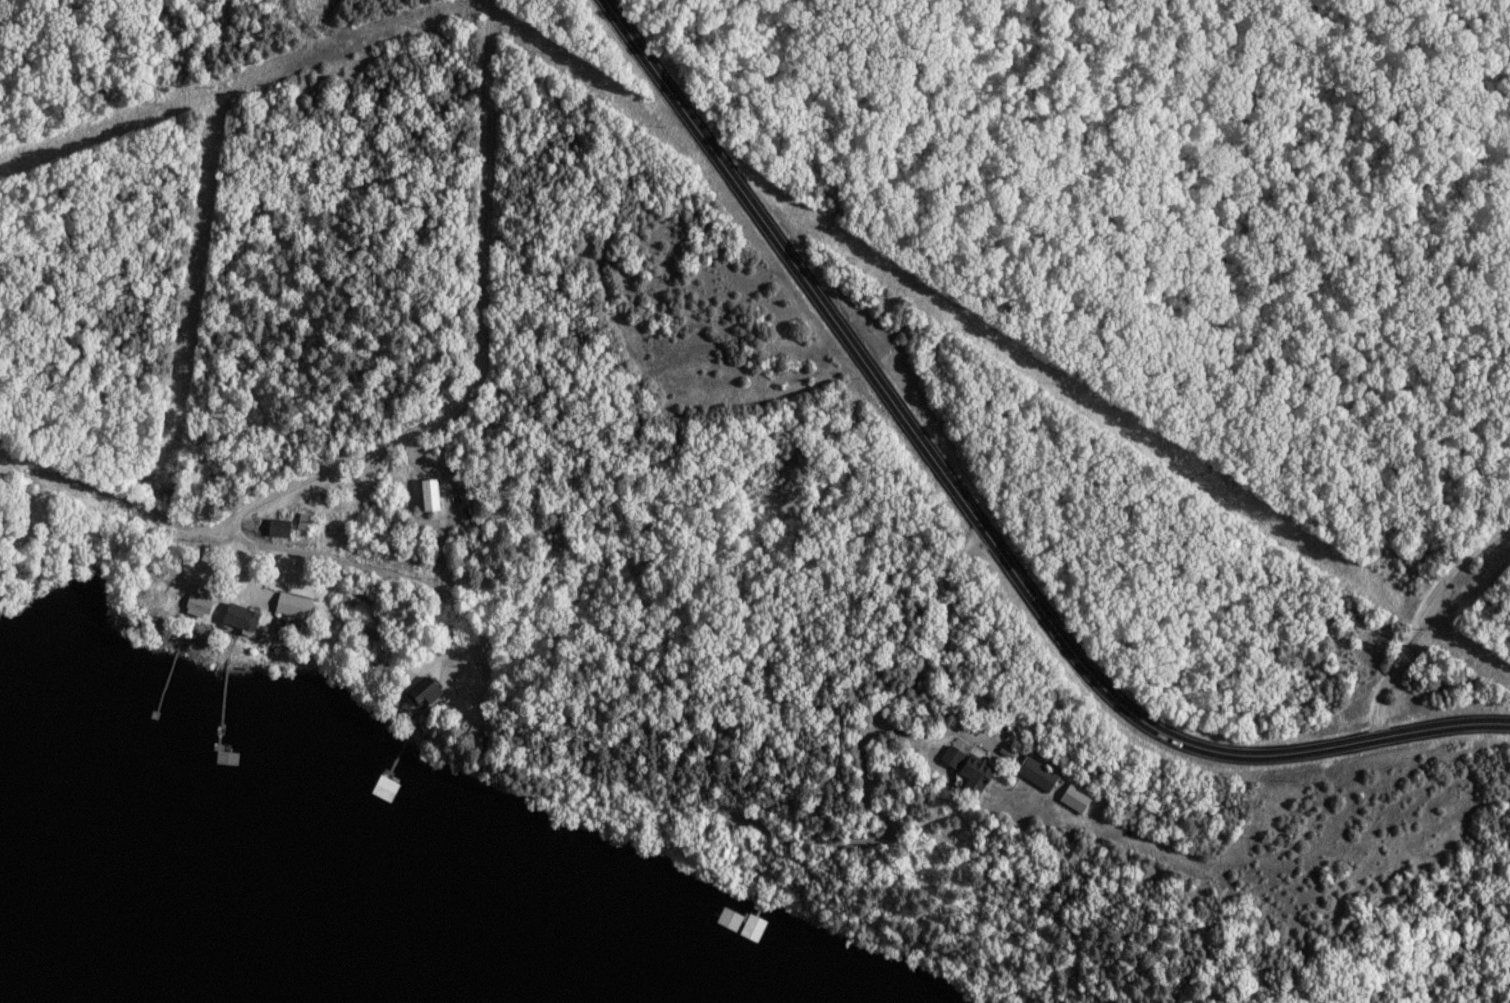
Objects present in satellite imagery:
road: (484, 345)
building: (432, 504)
road: (974, 521)
building: (280, 530)
road: (307, 557)
road: (947, 609)
building: (241, 619)
road: (1418, 621)
building: (427, 693)
road: (962, 719)
building: (229, 759)
building: (969, 771)
building: (1038, 776)
building: (755, 929)

